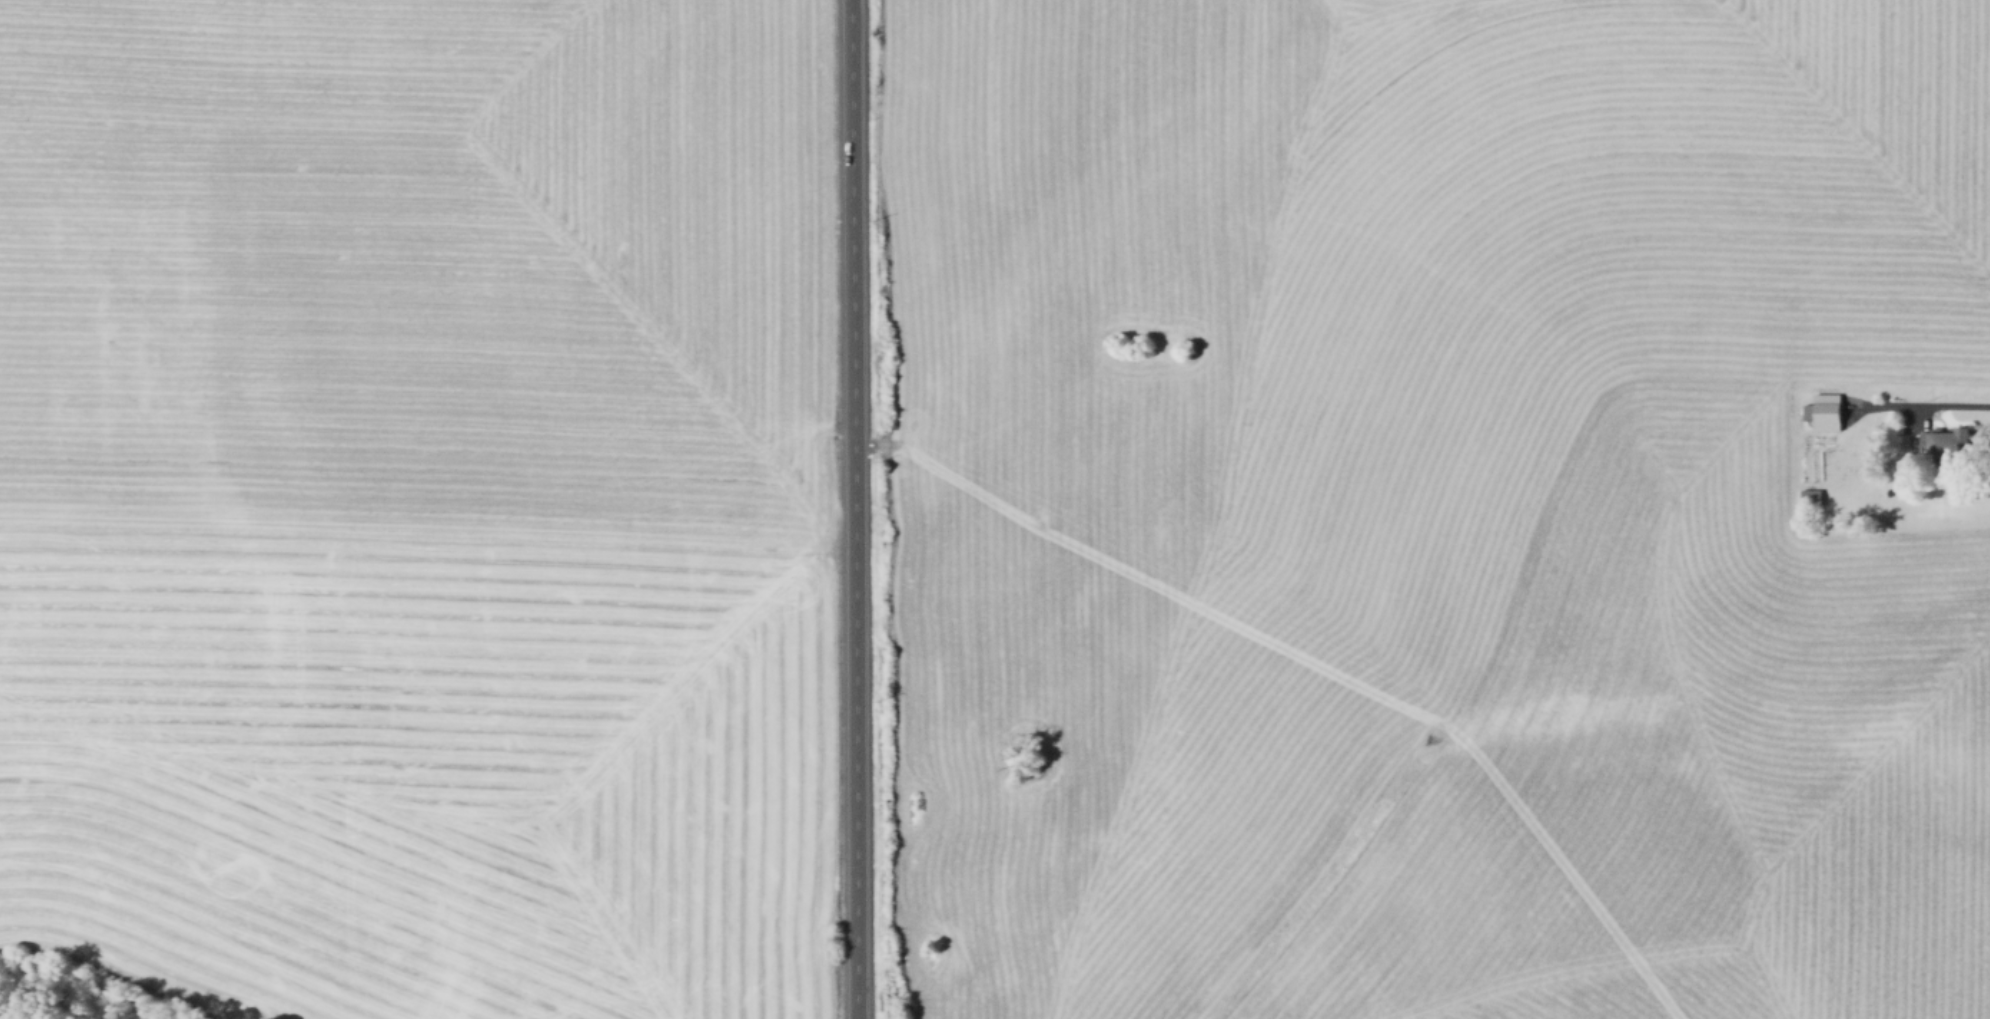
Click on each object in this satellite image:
road: (1957, 404)
building: (1826, 413)
building: (1948, 443)
building: (1812, 498)
crop: (420, 499)
road: (851, 509)
crop: (1427, 510)
building: (1847, 515)

